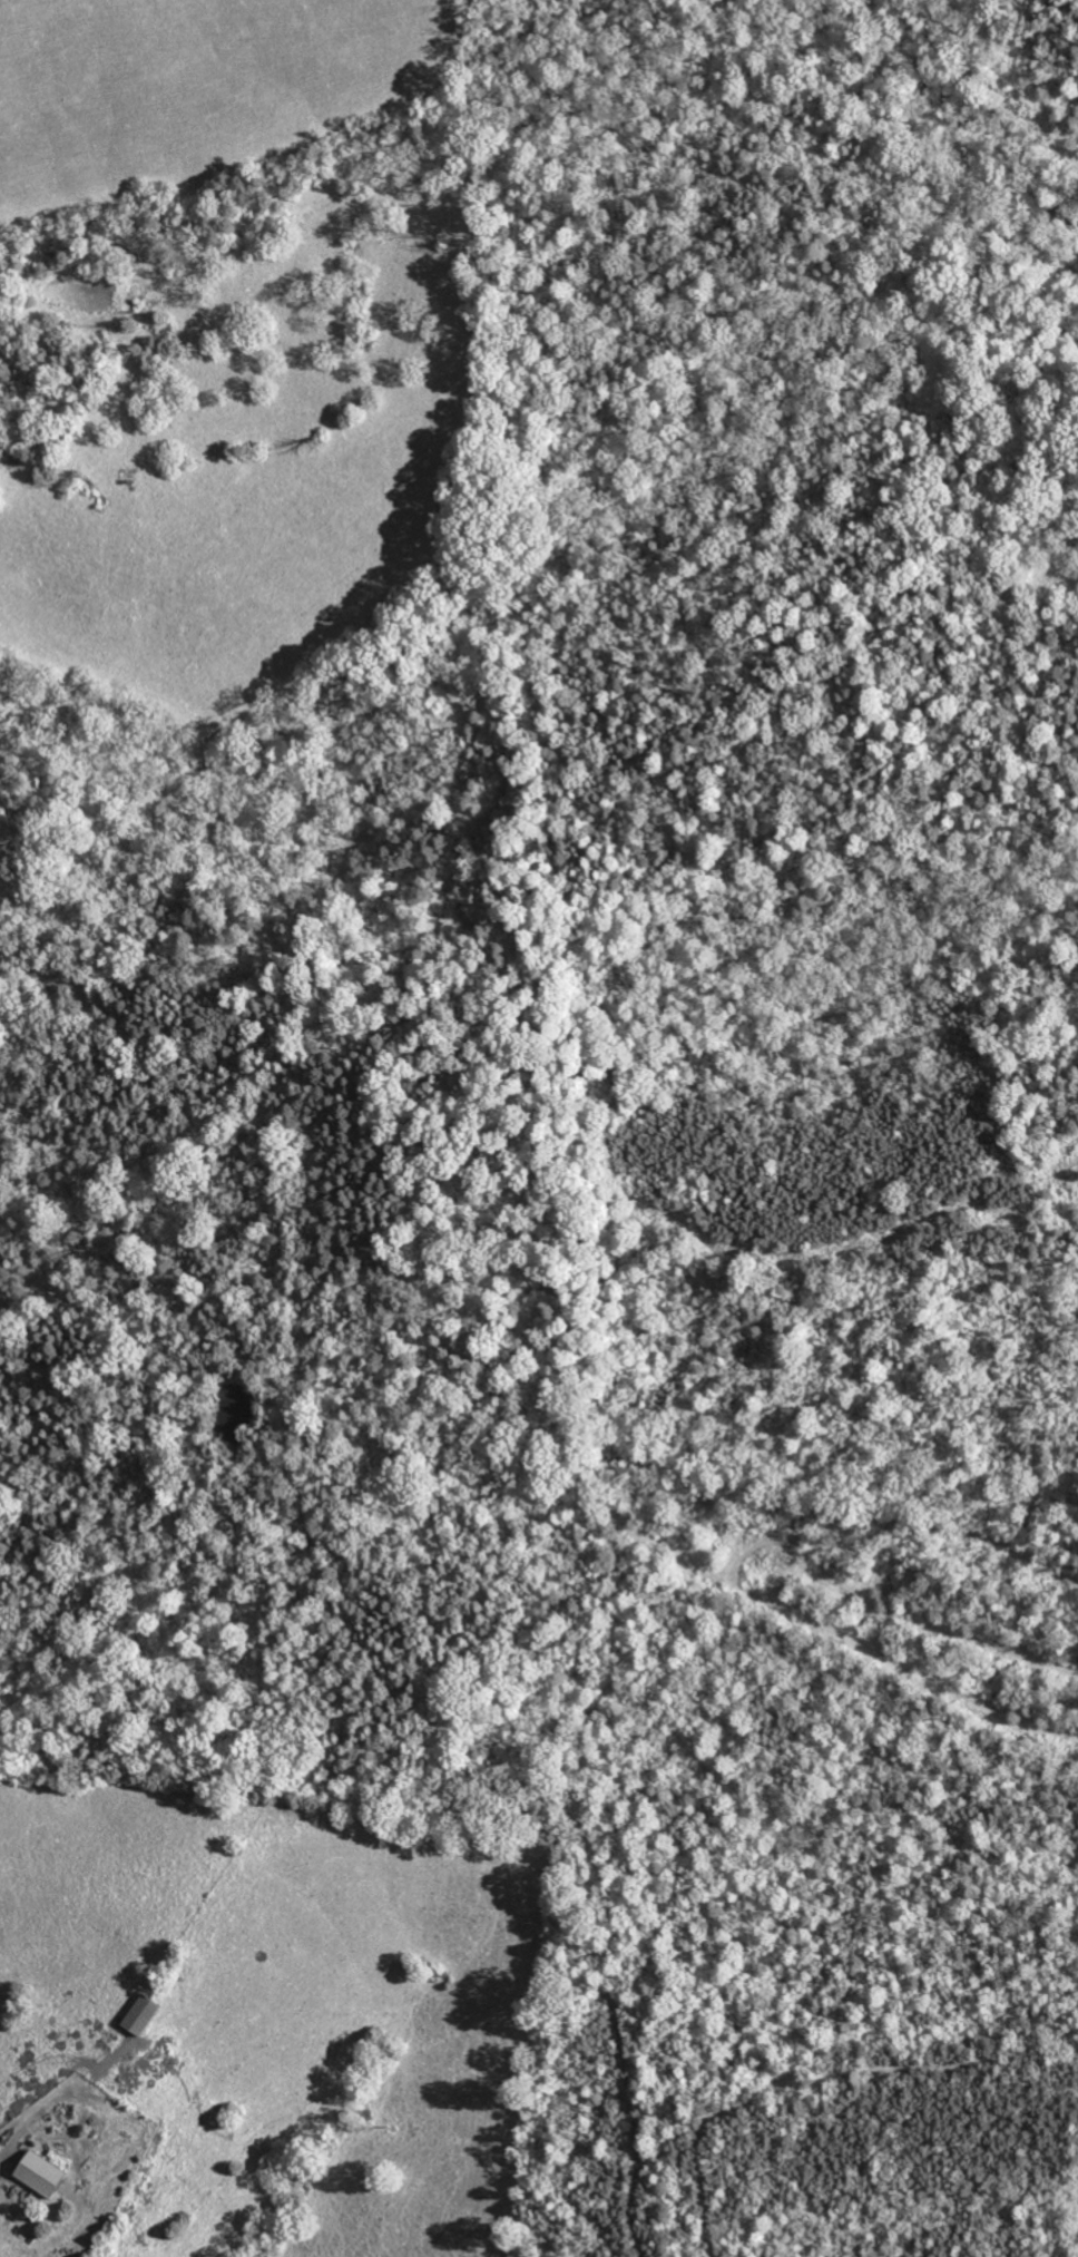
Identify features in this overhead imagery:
building: (139, 2014)
building: (38, 2172)

